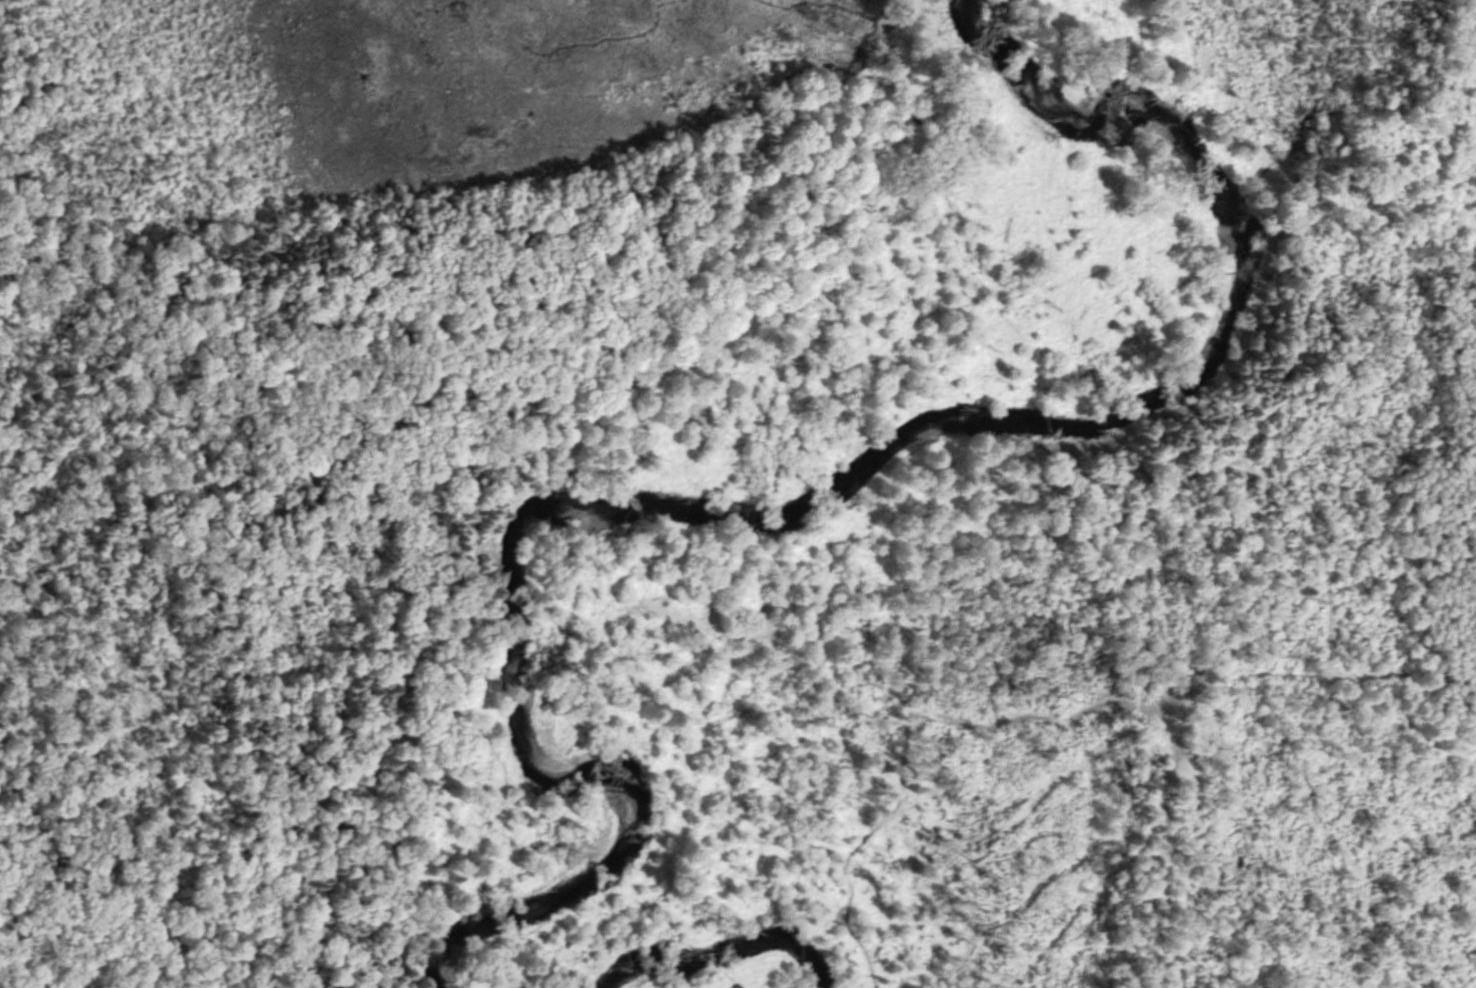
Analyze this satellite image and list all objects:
river: (670, 478)

